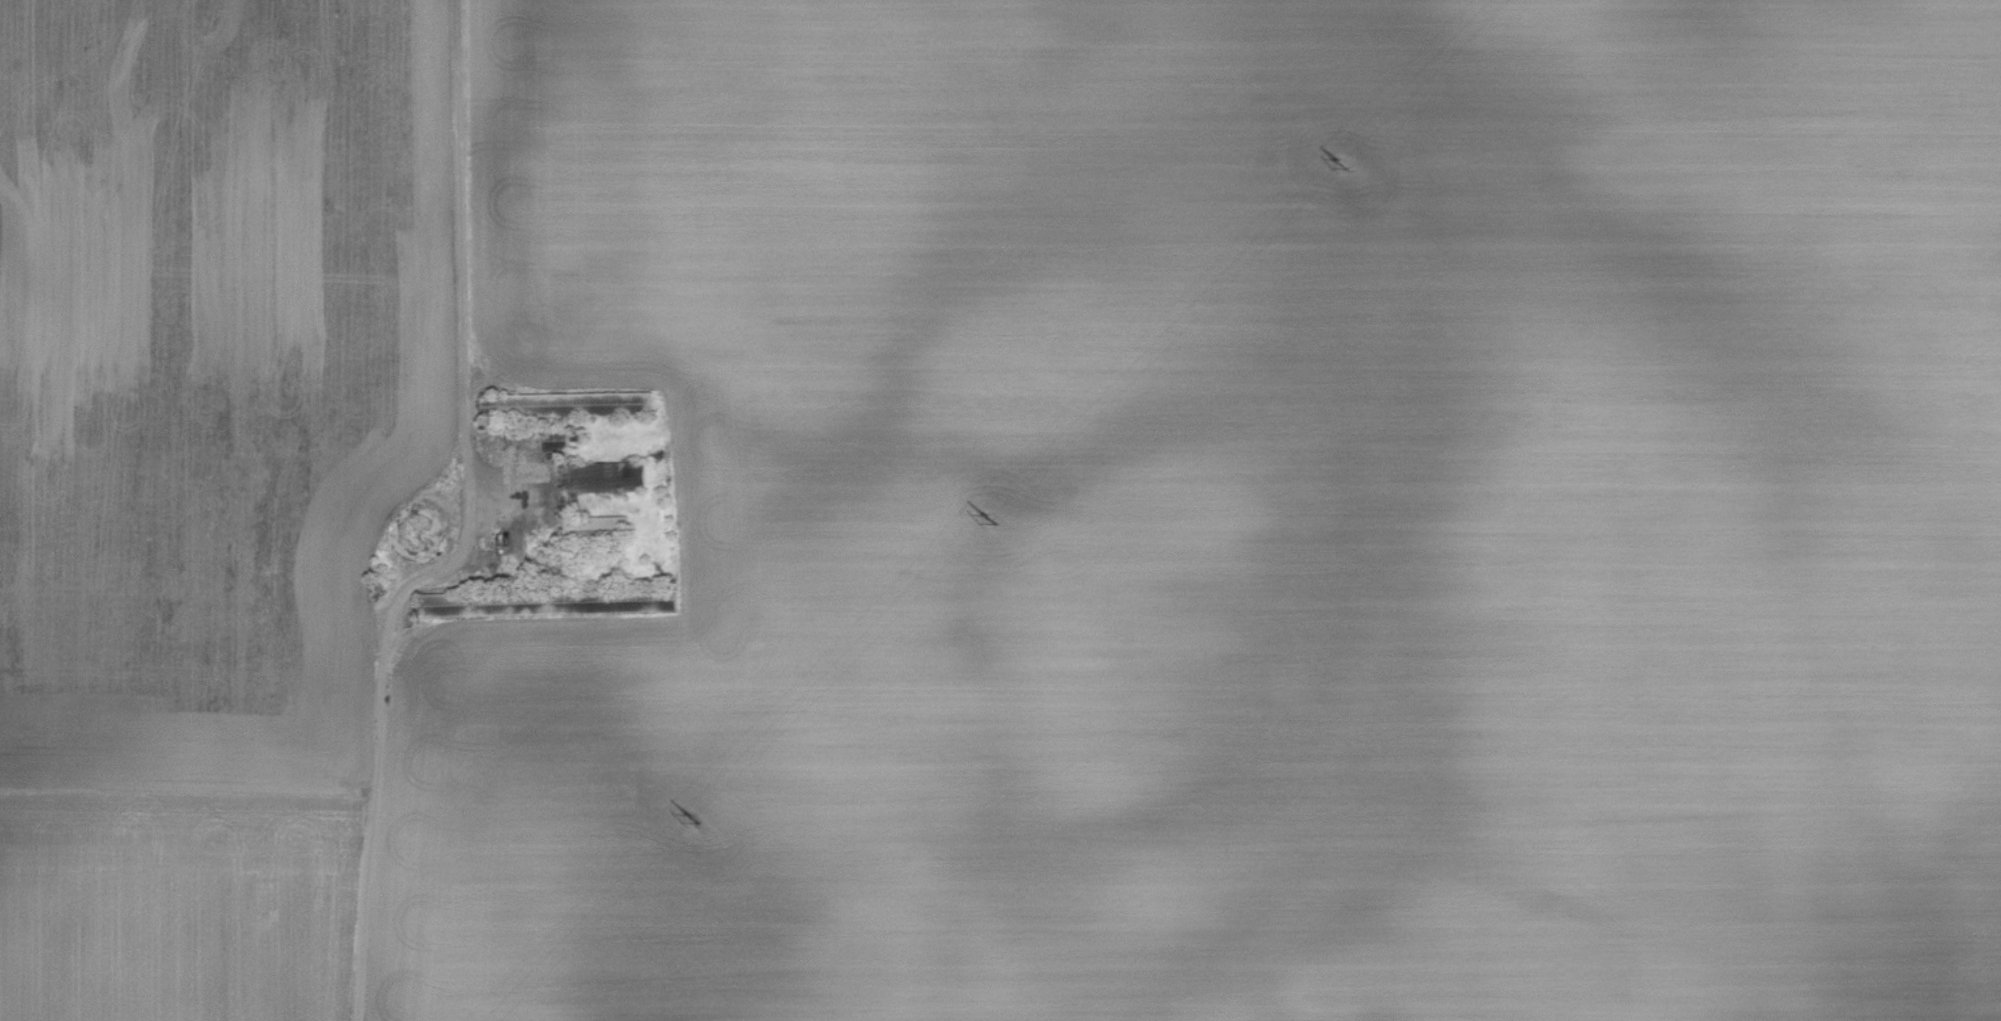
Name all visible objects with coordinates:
power tower: (1344, 163)
power tower: (993, 521)
road: (467, 530)
power tower: (696, 821)

